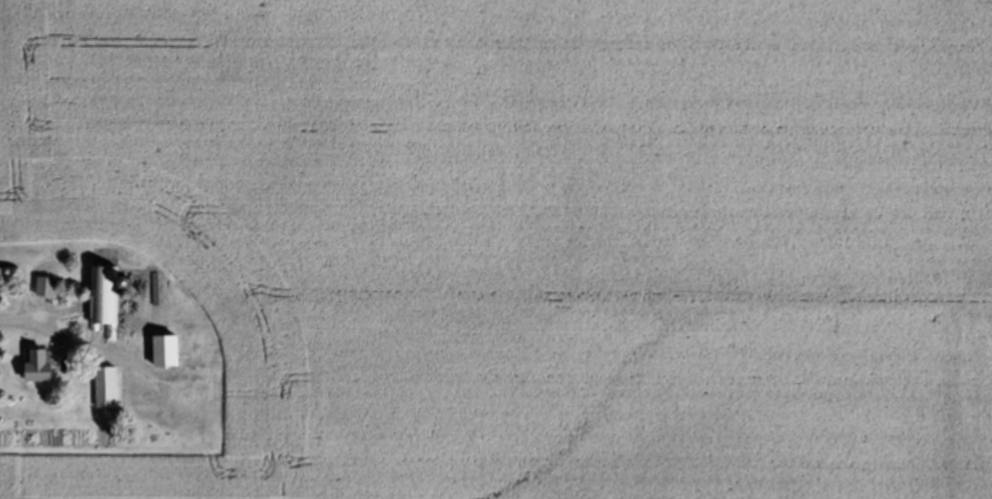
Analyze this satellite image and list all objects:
building: (49, 285)
building: (108, 299)
building: (171, 349)
building: (45, 363)
building: (109, 386)

